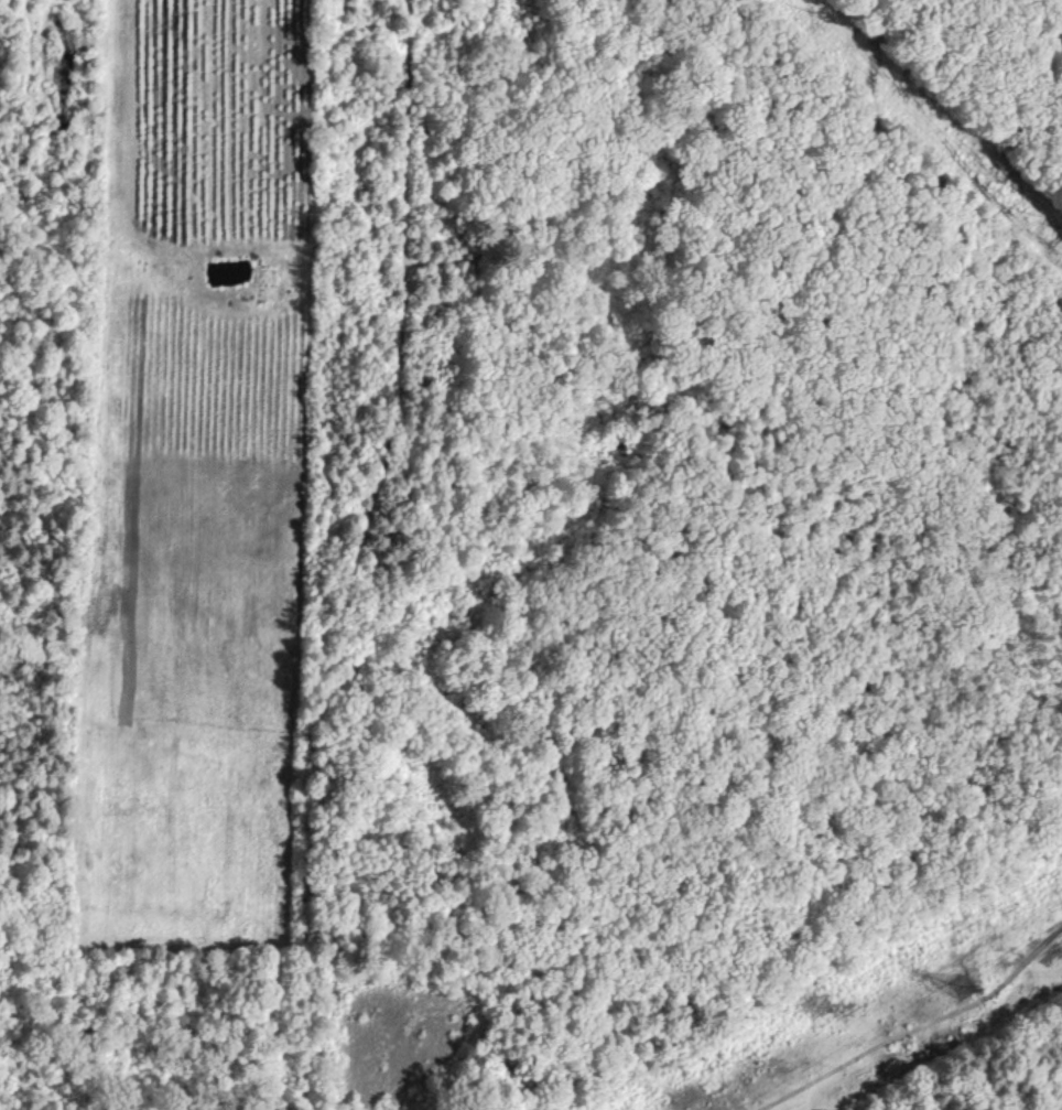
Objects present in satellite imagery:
power tower: (962, 985)

